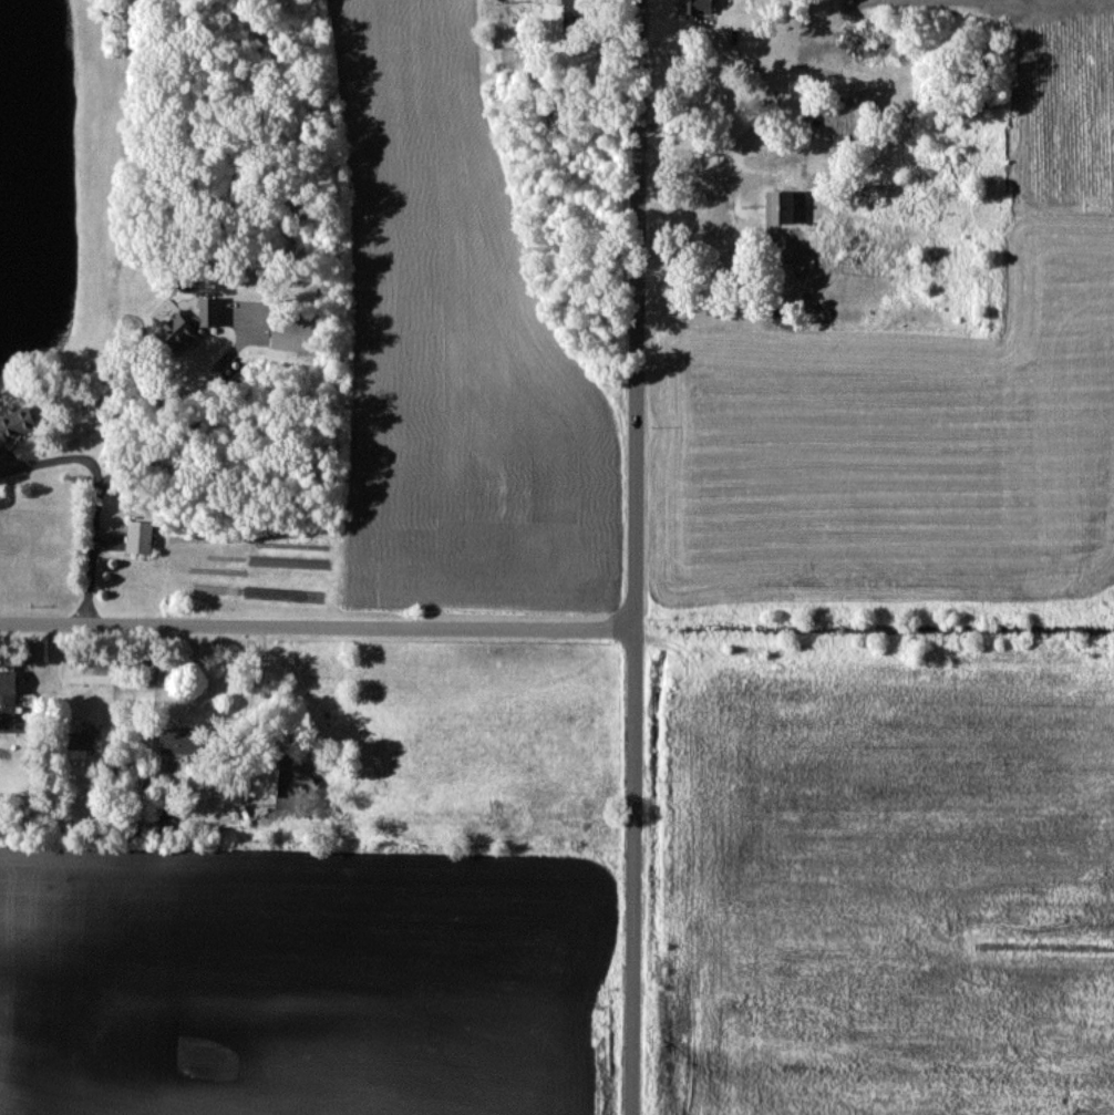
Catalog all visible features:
building: (697, 8)
road: (761, 100)
building: (848, 115)
building: (781, 208)
building: (194, 322)
building: (295, 333)
building: (17, 423)
road: (136, 463)
building: (141, 537)
road: (635, 557)
road: (317, 626)
building: (91, 672)
building: (8, 696)
building: (85, 740)
building: (184, 741)
building: (264, 776)
building: (162, 815)

